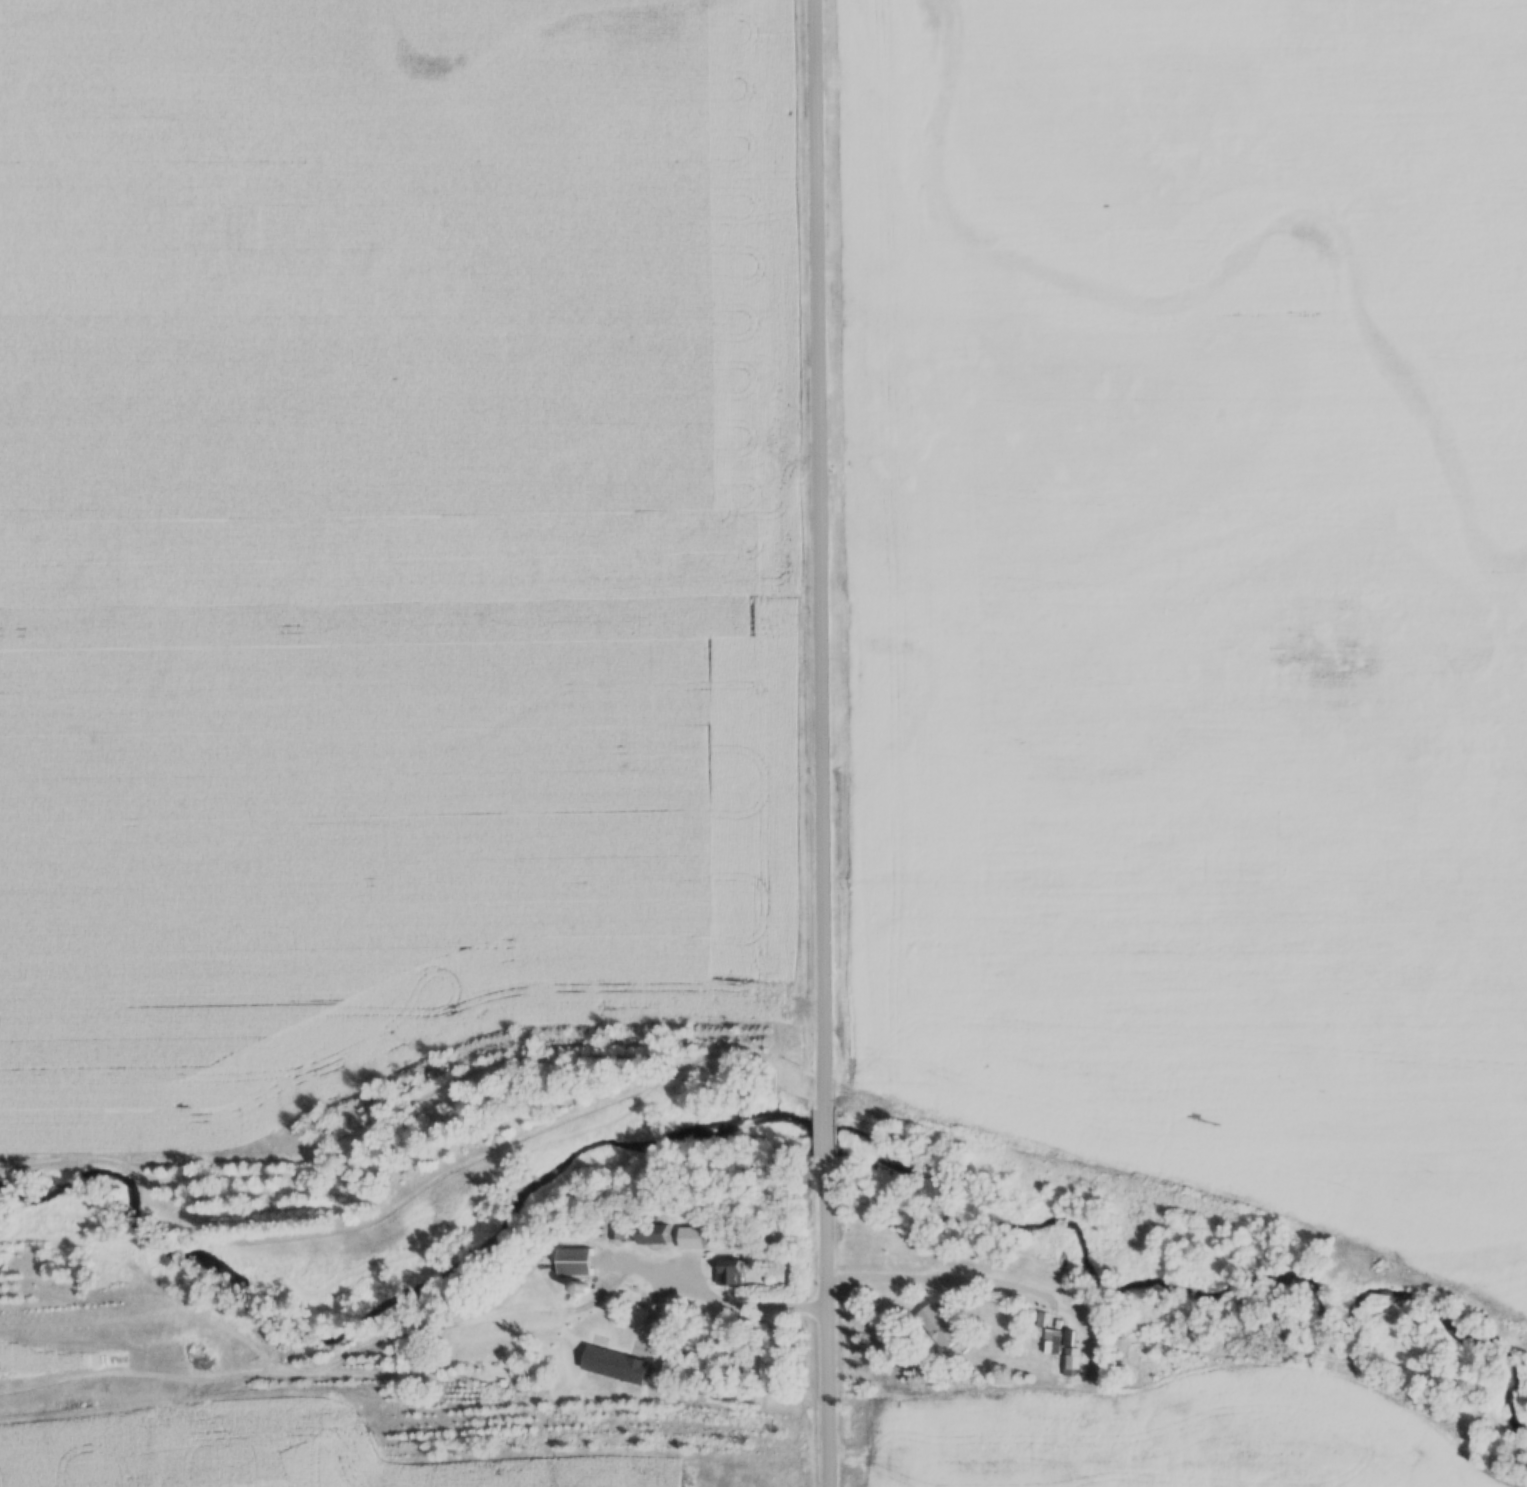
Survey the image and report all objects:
road: (821, 743)
building: (691, 1232)
river: (118, 1234)
building: (663, 1237)
river: (475, 1252)
building: (580, 1261)
building: (732, 1273)
river: (1112, 1288)
building: (936, 1326)
building: (1059, 1350)
building: (622, 1365)

